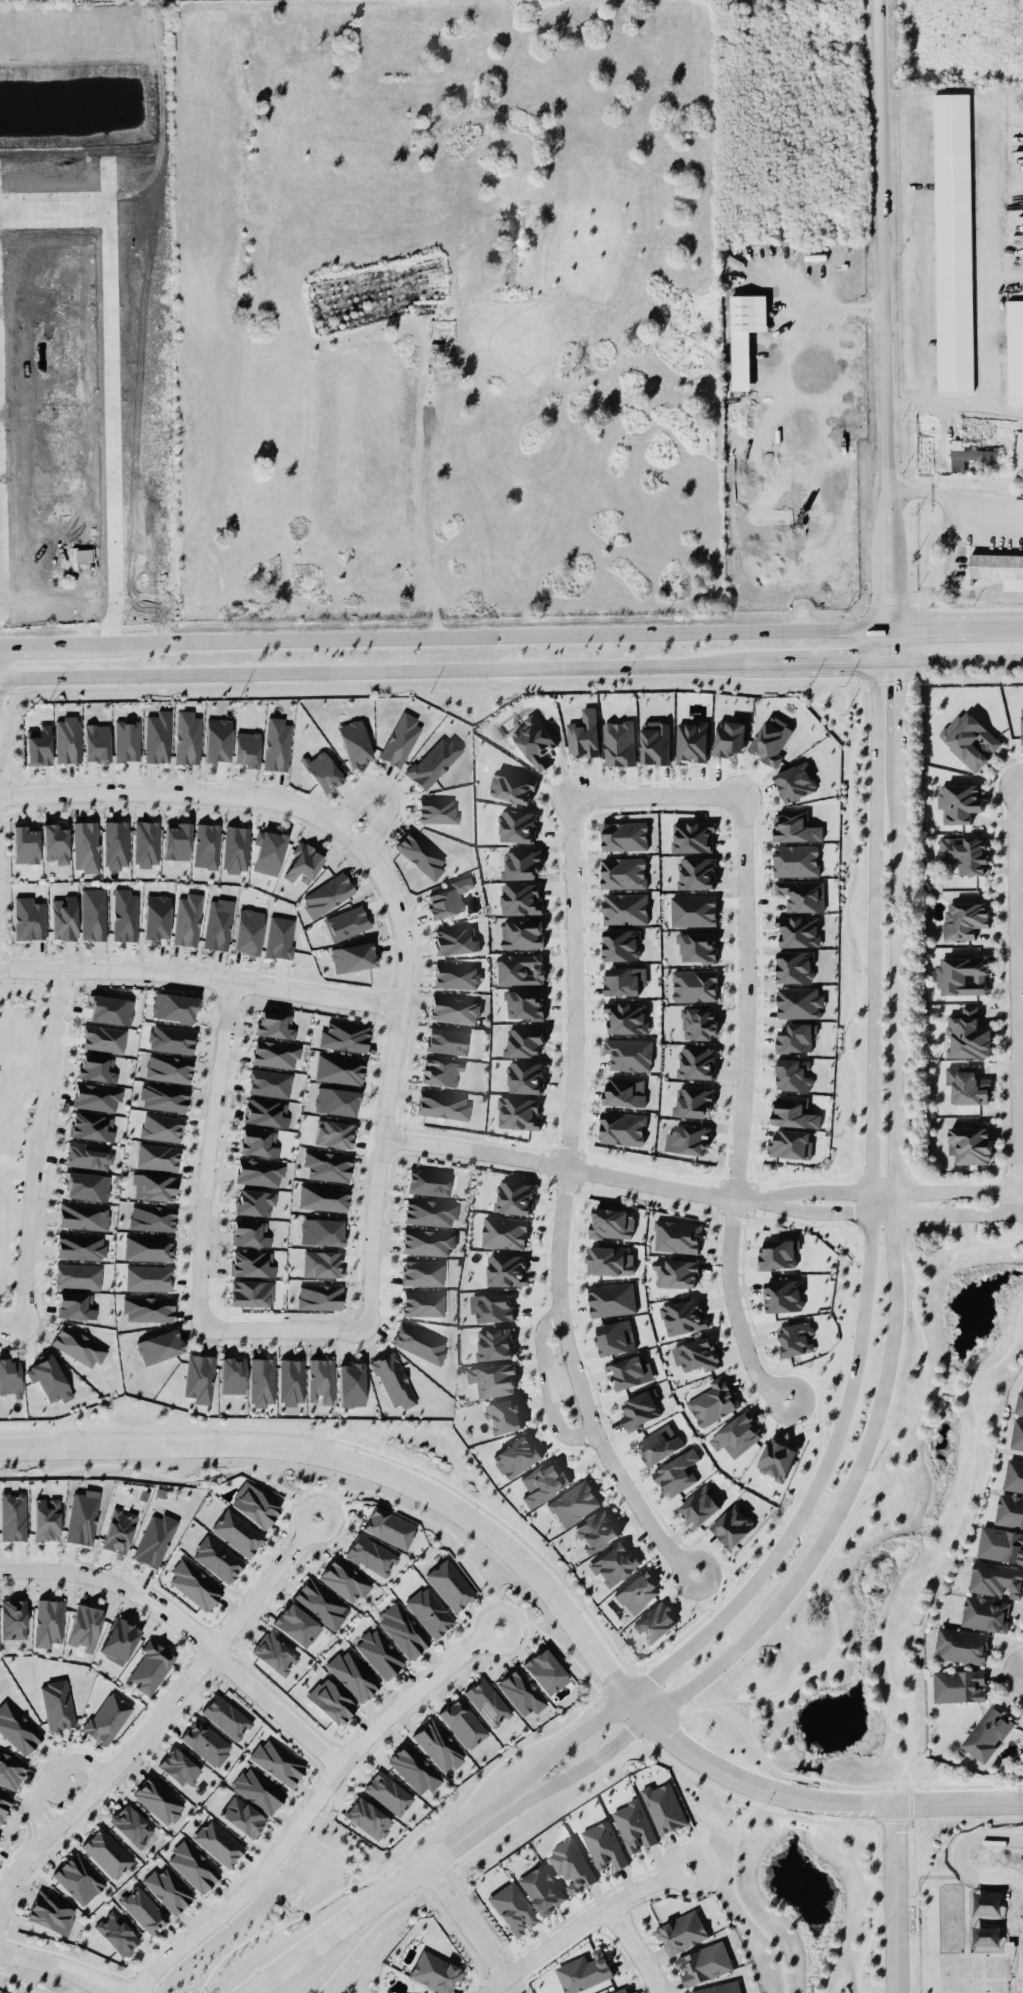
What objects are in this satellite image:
building: (953, 241)
road: (882, 246)
building: (745, 334)
road: (788, 350)
building: (1014, 351)
road: (954, 404)
building: (971, 453)
road: (956, 497)
road: (417, 499)
road: (896, 535)
road: (879, 546)
building: (998, 568)
building: (113, 587)
road: (899, 604)
road: (961, 628)
road: (877, 630)
road: (449, 635)
road: (899, 645)
road: (961, 659)
road: (450, 668)
building: (1021, 725)
building: (583, 734)
building: (157, 736)
building: (729, 736)
building: (186, 737)
building: (67, 739)
building: (400, 739)
building: (126, 740)
building: (216, 740)
building: (771, 740)
building: (969, 740)
building: (534, 741)
building: (97, 742)
building: (354, 742)
building: (691, 742)
building: (619, 743)
building: (655, 743)
building: (276, 744)
building: (38, 745)
building: (247, 748)
building: (433, 762)
building: (323, 770)
building: (795, 782)
road: (1020, 782)
building: (513, 786)
road: (386, 790)
road: (660, 797)
road: (272, 799)
building: (959, 801)
building: (437, 810)
building: (517, 826)
building: (795, 826)
building: (624, 836)
building: (692, 836)
building: (176, 841)
building: (55, 843)
building: (146, 843)
building: (25, 844)
building: (116, 844)
building: (85, 845)
building: (206, 845)
building: (235, 848)
building: (269, 852)
building: (964, 852)
building: (420, 853)
building: (796, 860)
building: (302, 864)
building: (521, 864)
building: (623, 872)
building: (696, 873)
building: (801, 894)
building: (327, 895)
building: (448, 898)
building: (520, 899)
building: (625, 908)
building: (693, 910)
building: (93, 914)
building: (124, 915)
building: (156, 917)
building: (28, 918)
building: (63, 918)
building: (187, 919)
building: (964, 919)
building: (346, 923)
building: (218, 924)
building: (248, 931)
building: (798, 931)
building: (522, 934)
building: (279, 937)
building: (455, 941)
building: (620, 945)
building: (697, 947)
building: (352, 957)
building: (795, 966)
building: (520, 969)
building: (963, 974)
building: (456, 975)
road: (200, 976)
building: (624, 980)
road: (576, 983)
building: (695, 985)
road: (1012, 998)
building: (799, 1002)
building: (525, 1005)
building: (174, 1006)
building: (110, 1009)
building: (454, 1009)
building: (626, 1017)
building: (698, 1023)
building: (275, 1024)
building: (966, 1034)
building: (344, 1036)
building: (795, 1037)
building: (103, 1038)
building: (171, 1038)
building: (447, 1040)
building: (525, 1041)
building: (275, 1053)
building: (629, 1054)
building: (697, 1063)
building: (96, 1068)
building: (168, 1068)
building: (339, 1068)
building: (440, 1072)
building: (793, 1074)
building: (526, 1077)
building: (269, 1082)
building: (966, 1084)
building: (624, 1092)
building: (96, 1097)
building: (163, 1097)
building: (336, 1101)
building: (695, 1103)
building: (442, 1104)
road: (743, 1110)
building: (265, 1112)
building: (794, 1112)
building: (518, 1113)
building: (92, 1126)
building: (161, 1127)
building: (622, 1128)
building: (334, 1134)
building: (688, 1140)
building: (969, 1141)
building: (258, 1142)
building: (791, 1144)
road: (36, 1145)
road: (208, 1153)
building: (88, 1155)
building: (157, 1157)
building: (327, 1165)
road: (378, 1167)
road: (581, 1170)
building: (259, 1172)
building: (429, 1182)
building: (86, 1185)
building: (154, 1186)
road: (825, 1191)
road: (947, 1191)
building: (322, 1197)
building: (514, 1197)
building: (254, 1202)
building: (429, 1211)
road: (824, 1213)
road: (946, 1214)
building: (83, 1216)
building: (151, 1217)
road: (913, 1222)
building: (611, 1223)
road: (915, 1229)
building: (321, 1231)
building: (504, 1232)
building: (249, 1233)
building: (677, 1236)
building: (427, 1241)
building: (80, 1246)
building: (148, 1247)
building: (778, 1254)
building: (609, 1260)
building: (252, 1263)
building: (321, 1263)
building: (506, 1270)
building: (422, 1272)
building: (676, 1273)
building: (78, 1275)
road: (918, 1275)
building: (148, 1277)
building: (251, 1293)
building: (319, 1296)
building: (783, 1296)
road: (863, 1298)
building: (612, 1299)
building: (422, 1303)
building: (75, 1305)
building: (492, 1307)
building: (148, 1308)
road: (895, 1313)
building: (683, 1317)
road: (11, 1325)
road: (285, 1327)
building: (615, 1337)
building: (796, 1339)
building: (419, 1342)
building: (494, 1343)
building: (78, 1345)
building: (159, 1346)
building: (696, 1354)
building: (629, 1372)
building: (232, 1375)
building: (10, 1377)
building: (49, 1378)
building: (199, 1378)
building: (320, 1379)
building: (493, 1379)
building: (393, 1380)
building: (291, 1381)
building: (261, 1382)
building: (350, 1384)
road: (548, 1387)
road: (579, 1387)
road: (930, 1390)
road: (946, 1392)
road: (960, 1394)
building: (1019, 1400)
building: (713, 1402)
building: (640, 1409)
building: (503, 1416)
building: (1017, 1434)
building: (736, 1435)
building: (659, 1444)
building: (515, 1457)
building: (777, 1458)
building: (677, 1472)
building: (1014, 1475)
building: (543, 1482)
building: (573, 1503)
building: (254, 1505)
building: (698, 1507)
building: (1009, 1510)
building: (12, 1516)
building: (82, 1517)
building: (46, 1518)
building: (732, 1526)
building: (389, 1527)
building: (119, 1531)
building: (595, 1531)
building: (237, 1532)
road: (952, 1532)
building: (154, 1539)
building: (1000, 1544)
building: (371, 1555)
building: (217, 1558)
building: (613, 1564)
road: (538, 1577)
building: (996, 1578)
building: (344, 1579)
building: (194, 1584)
building: (449, 1584)
building: (637, 1592)
building: (321, 1603)
road: (831, 1610)
building: (429, 1612)
building: (985, 1612)
building: (13, 1619)
building: (48, 1622)
building: (655, 1623)
building: (297, 1625)
building: (84, 1627)
road: (189, 1629)
building: (402, 1629)
building: (119, 1640)
building: (961, 1645)
building: (274, 1653)
building: (379, 1653)
building: (150, 1666)
building: (545, 1671)
building: (352, 1674)
building: (958, 1685)
building: (521, 1692)
building: (331, 1701)
building: (487, 1702)
building: (57, 1704)
road: (161, 1708)
building: (226, 1716)
road: (748, 1716)
building: (107, 1718)
building: (462, 1723)
building: (17, 1729)
building: (987, 1733)
building: (205, 1742)
building: (437, 1745)
building: (277, 1761)
building: (179, 1767)
building: (414, 1768)
building: (11, 1770)
road: (46, 1772)
road: (907, 1774)
road: (794, 1777)
road: (958, 1785)
building: (258, 1789)
building: (388, 1792)
road: (910, 1792)
building: (158, 1799)
building: (4, 1804)
road: (313, 1805)
building: (664, 1807)
road: (740, 1813)
road: (884, 1814)
building: (242, 1816)
building: (368, 1818)
road: (830, 1820)
building: (131, 1825)
building: (634, 1826)
building: (218, 1842)
building: (604, 1845)
building: (106, 1853)
road: (959, 1856)
building: (922, 1861)
building: (193, 1866)
building: (572, 1866)
road: (711, 1868)
building: (78, 1878)
building: (167, 1889)
building: (542, 1889)
road: (381, 1897)
road: (895, 1899)
road: (740, 1900)
building: (513, 1908)
building: (143, 1909)
building: (49, 1913)
road: (465, 1922)
road: (581, 1922)
building: (681, 1932)
building: (116, 1933)
road: (633, 1948)
building: (704, 1964)
road: (59, 1967)
building: (435, 1972)
building: (584, 1972)
park: (981, 1972)
building: (720, 1988)
building: (621, 1990)

